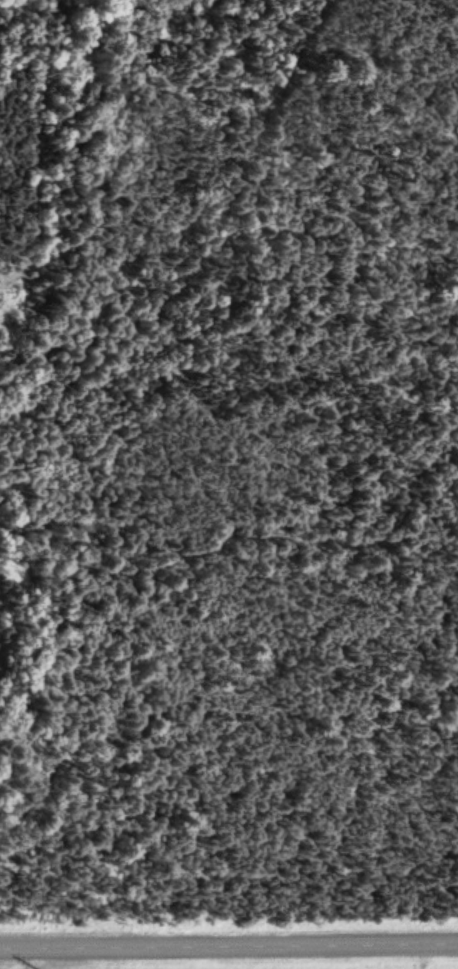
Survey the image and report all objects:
road: (229, 945)

